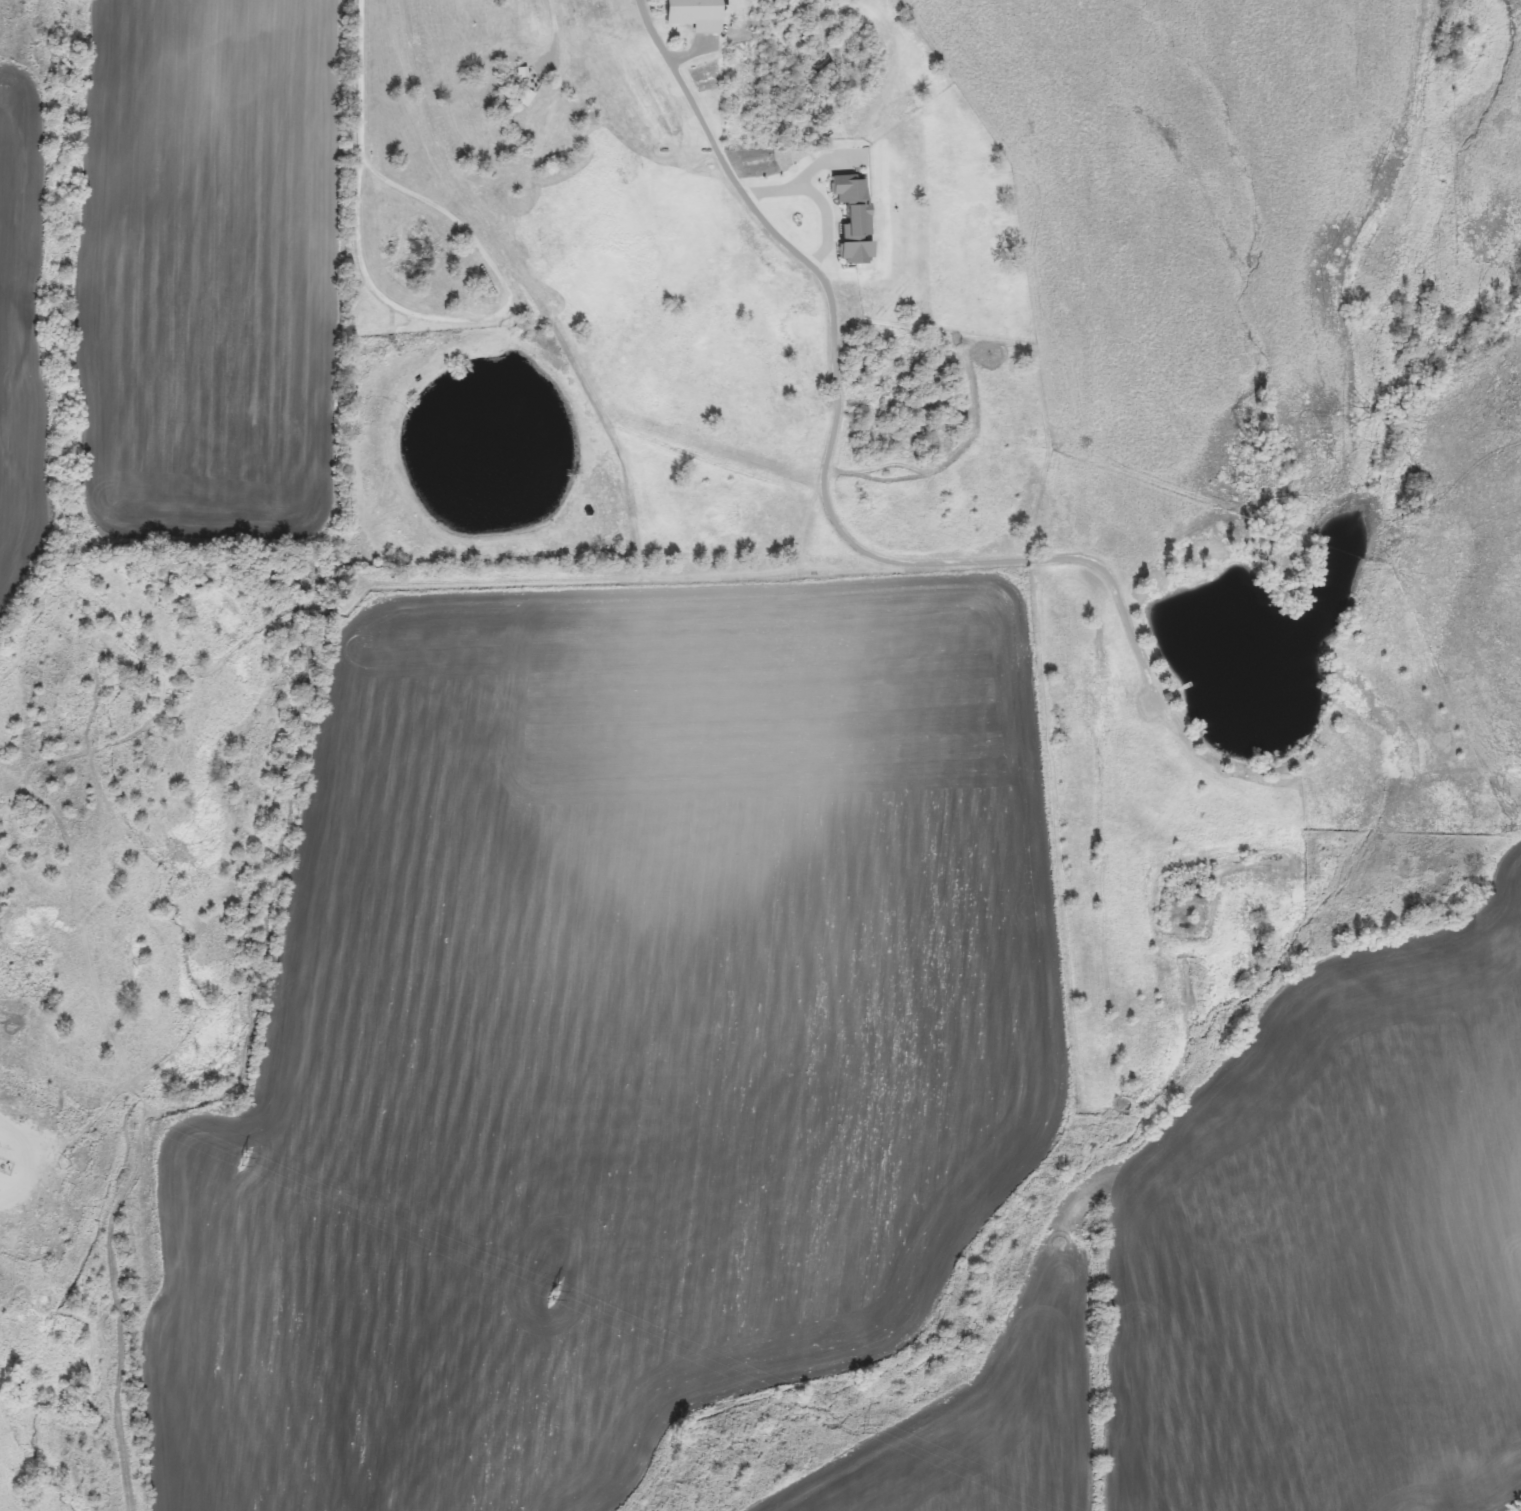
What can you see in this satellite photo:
building: (698, 14)
road: (710, 140)
road: (26, 1163)

